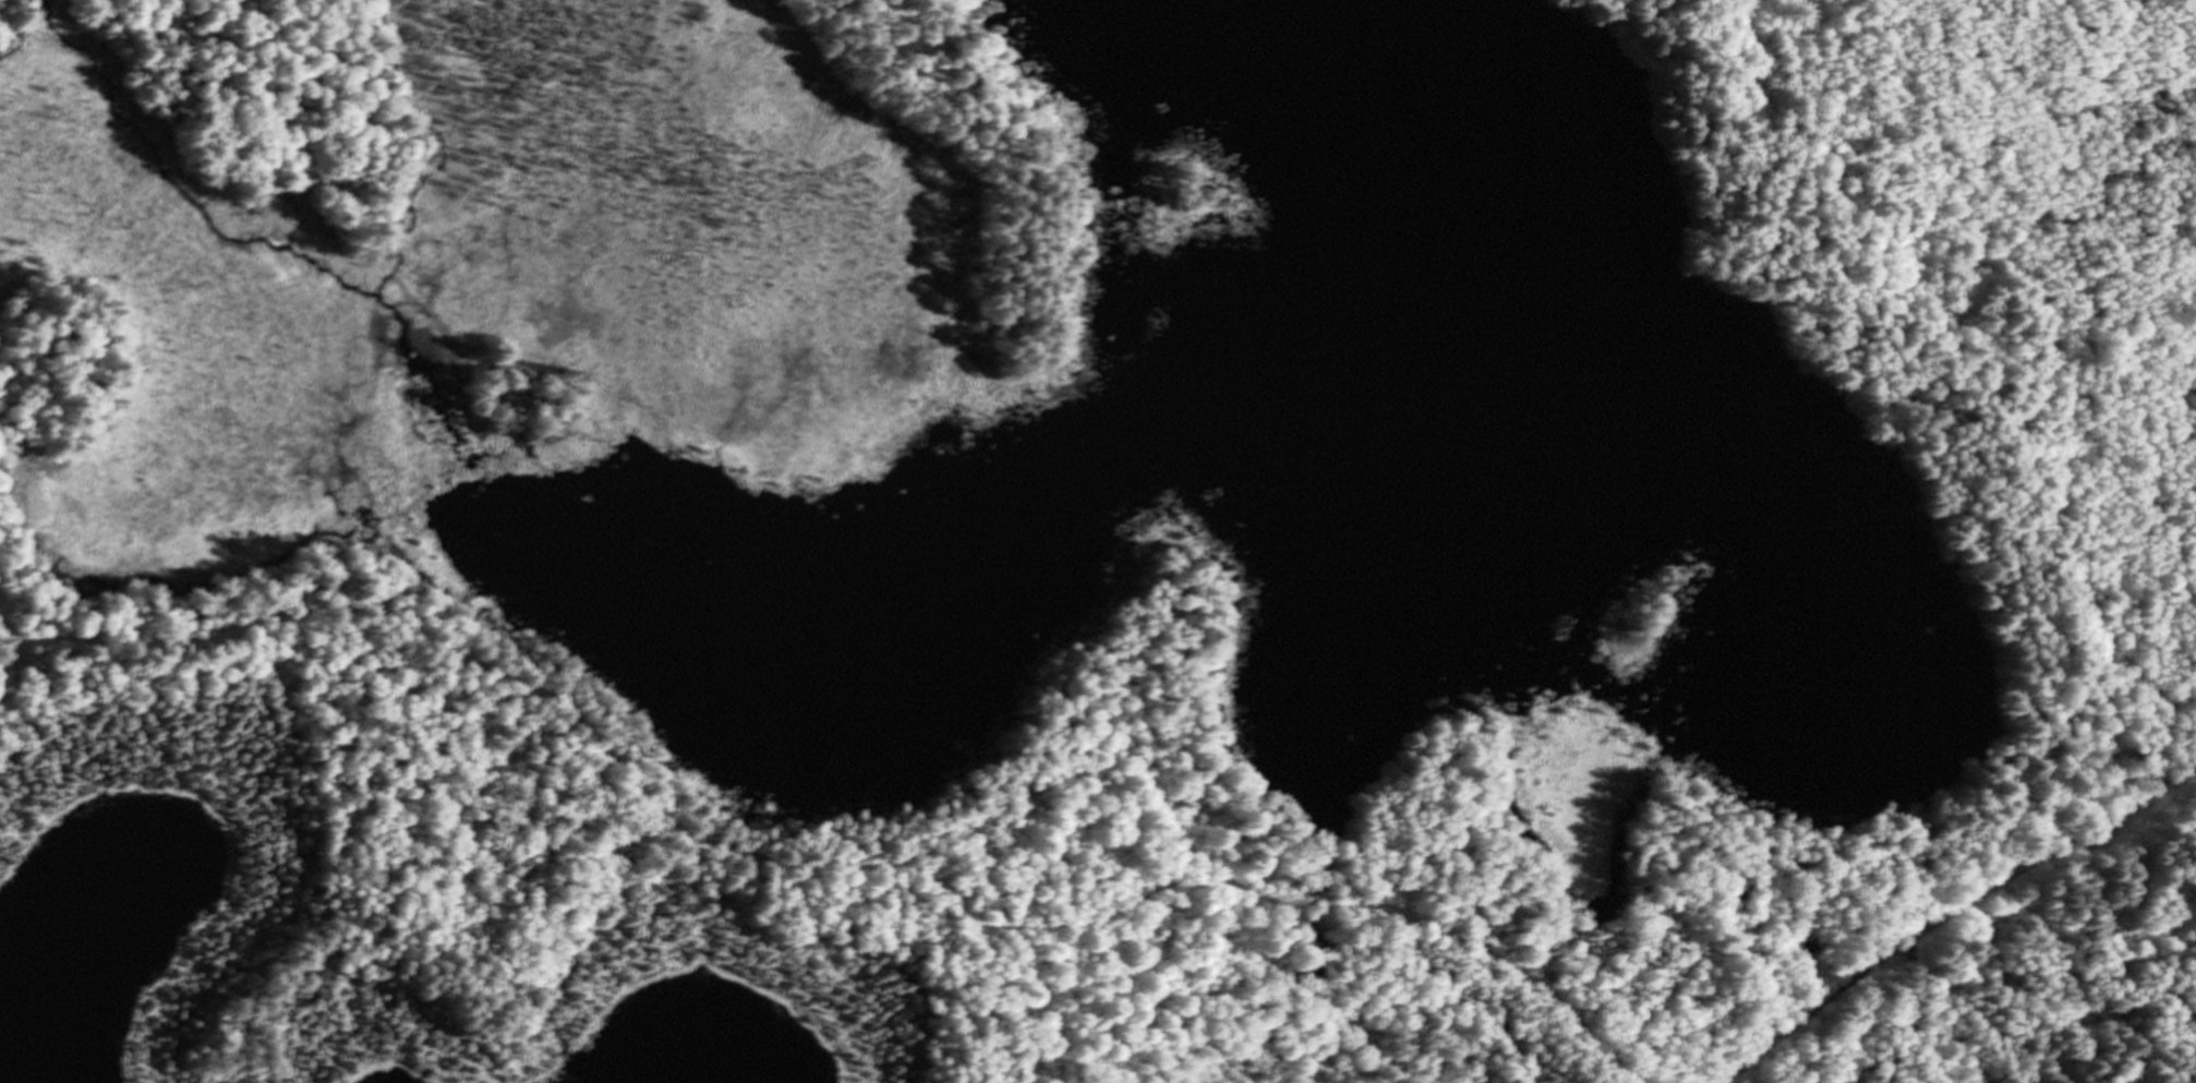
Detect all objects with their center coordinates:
road: (1959, 911)

